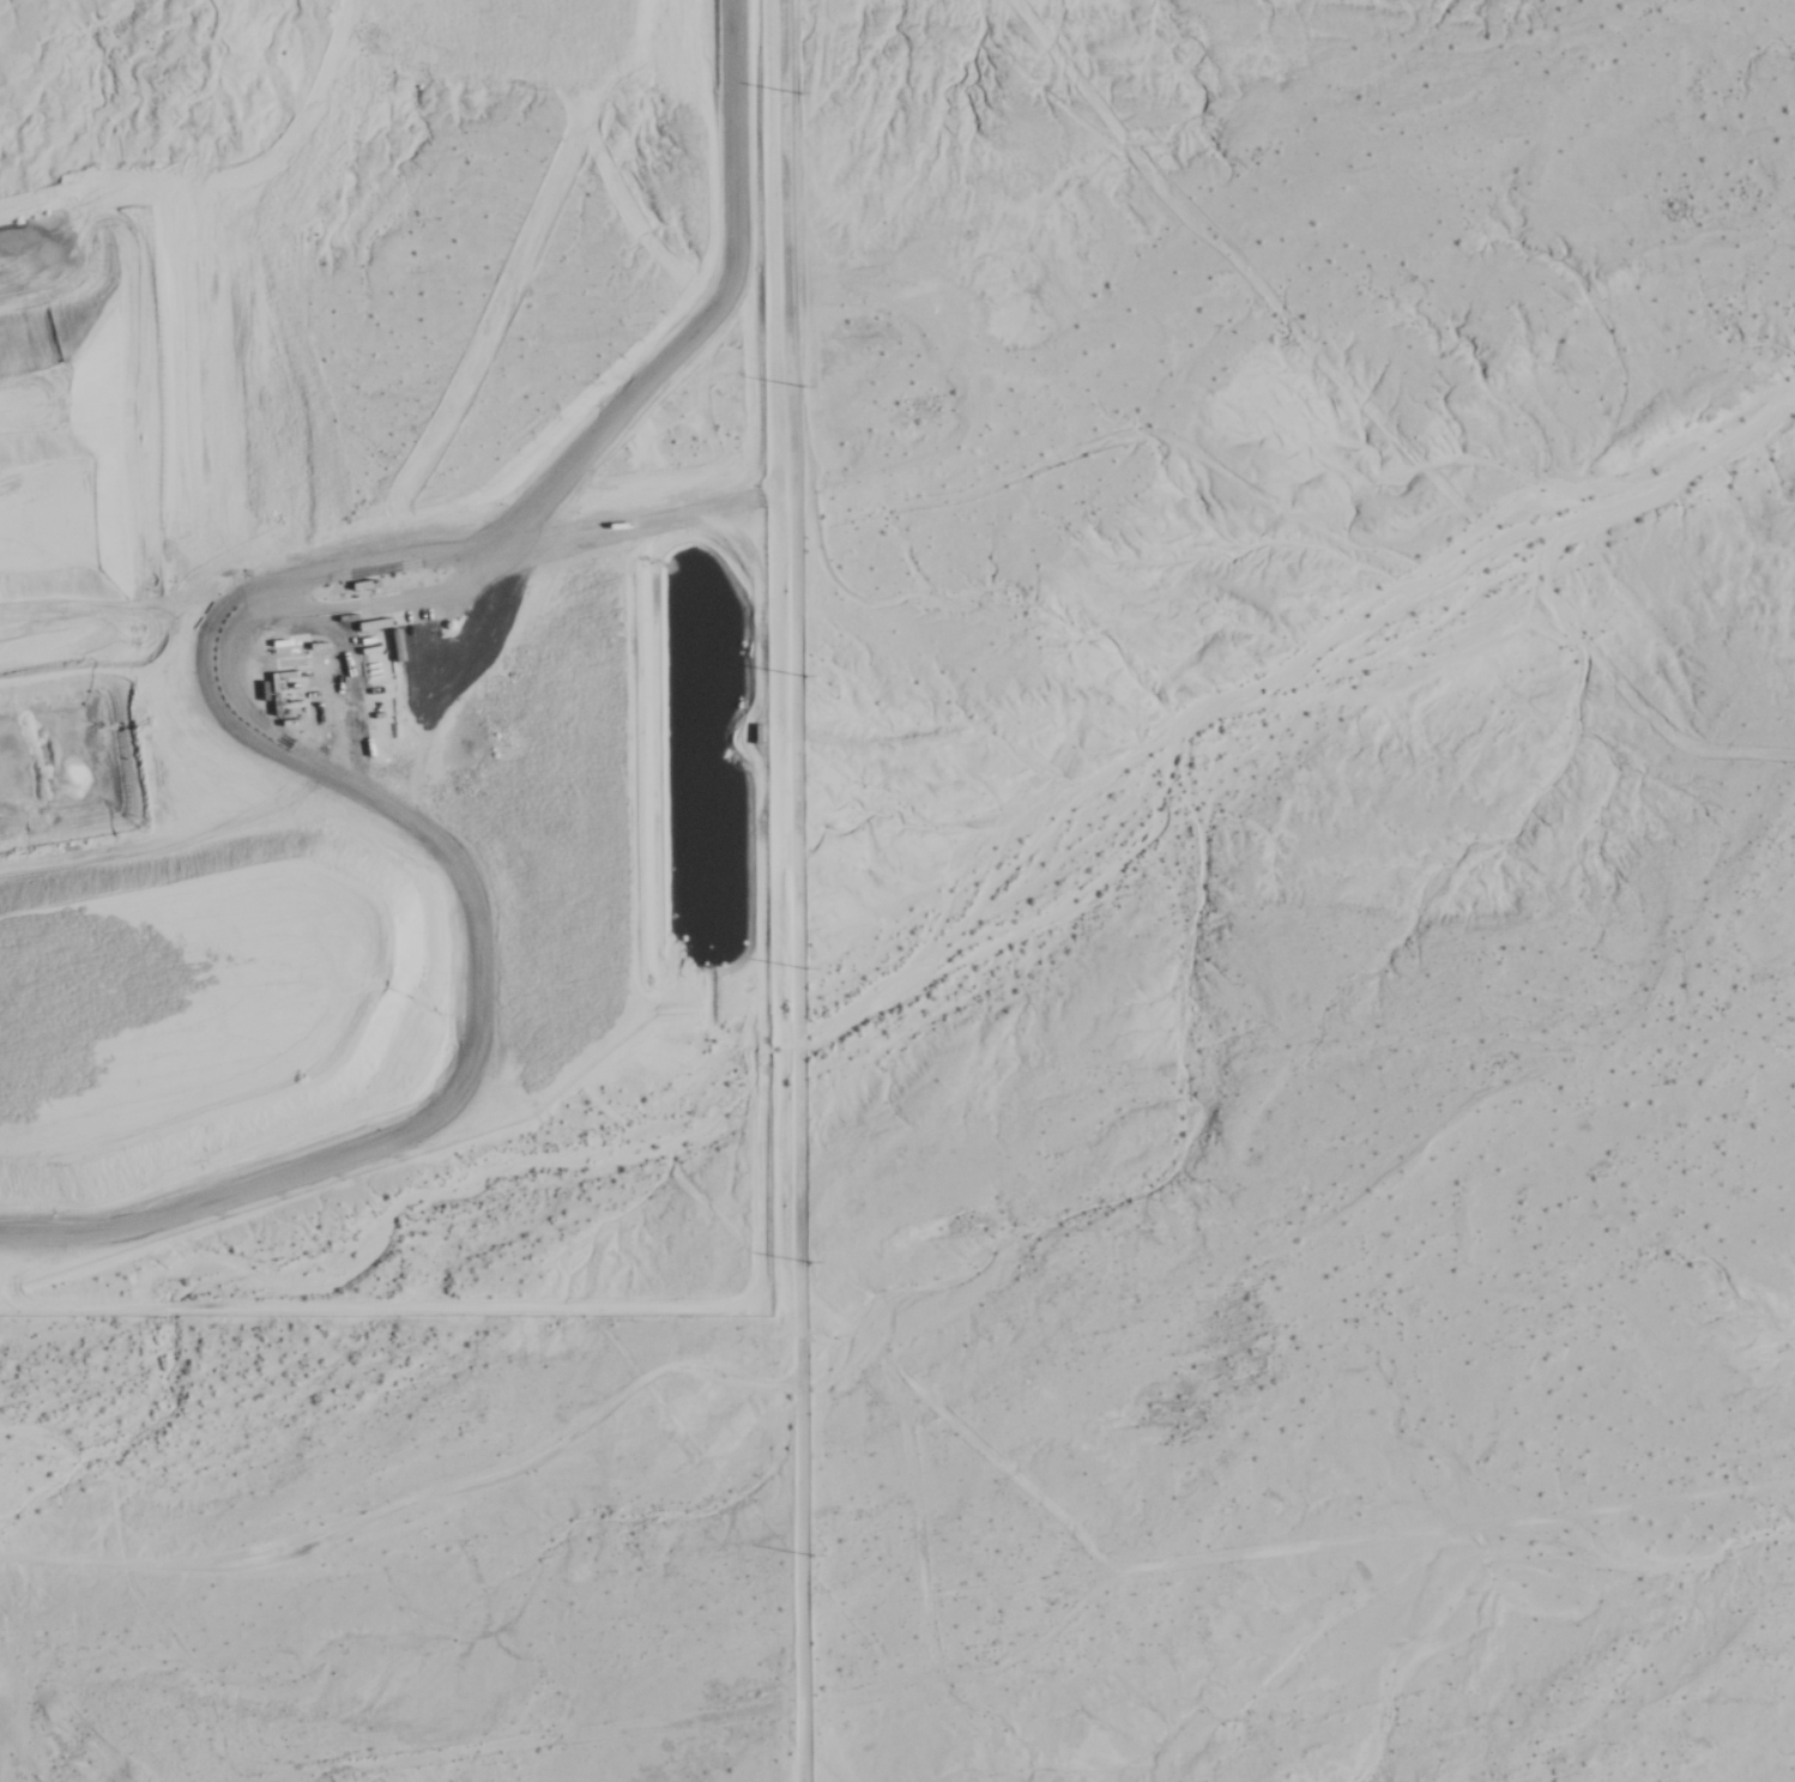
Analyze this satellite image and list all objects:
road: (633, 524)
landfill: (374, 647)
road: (231, 702)
road: (794, 890)
road: (411, 1496)

